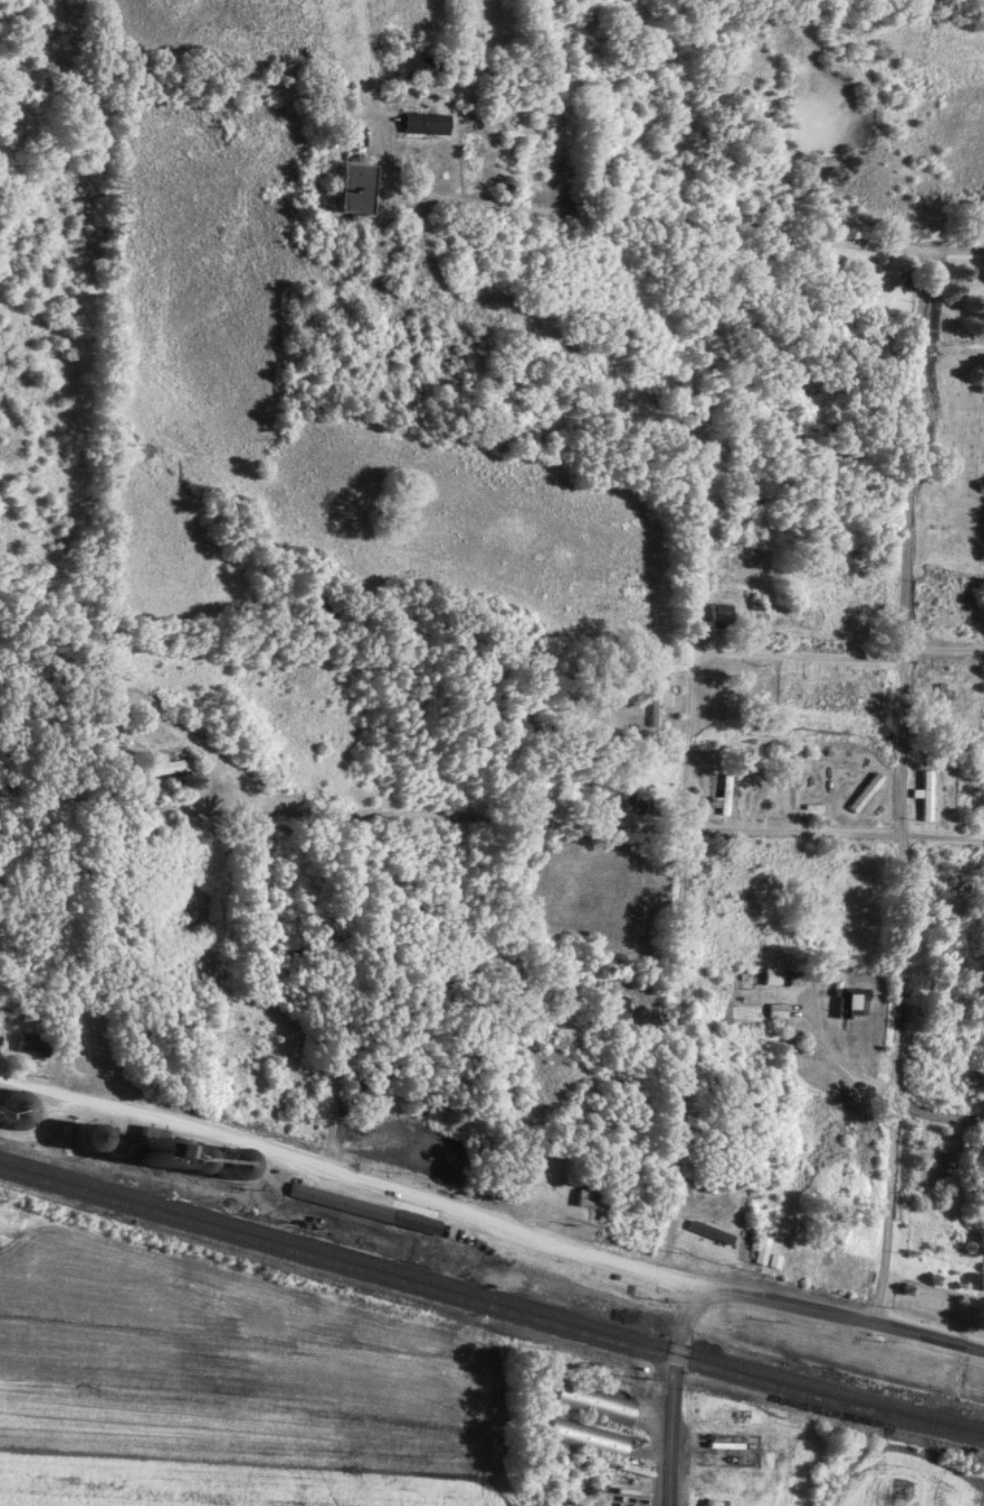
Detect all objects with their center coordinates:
building: (419, 67)
building: (428, 124)
building: (353, 188)
road: (580, 217)
building: (840, 267)
building: (884, 287)
road: (912, 448)
park: (953, 449)
building: (740, 504)
building: (722, 616)
road: (944, 649)
road: (905, 654)
road: (814, 657)
building: (657, 703)
building: (941, 703)
building: (126, 731)
building: (169, 766)
building: (866, 793)
building: (727, 796)
building: (929, 797)
building: (637, 805)
road: (491, 818)
road: (906, 876)
road: (679, 951)
building: (751, 975)
building: (852, 1003)
building: (615, 1007)
building: (780, 1012)
building: (29, 1045)
road: (835, 1056)
road: (898, 1101)
building: (14, 1110)
road: (940, 1115)
road: (166, 1120)
building: (380, 1136)
building: (86, 1139)
building: (428, 1148)
building: (156, 1153)
railway: (59, 1157)
building: (192, 1161)
building: (585, 1199)
building: (363, 1209)
road: (887, 1218)
building: (633, 1226)
road: (518, 1231)
building: (743, 1252)
building: (760, 1256)
building: (774, 1262)
railway: (491, 1297)
railway: (491, 1307)
road: (843, 1317)
road: (673, 1397)
building: (594, 1404)
building: (585, 1440)
building: (553, 1461)

